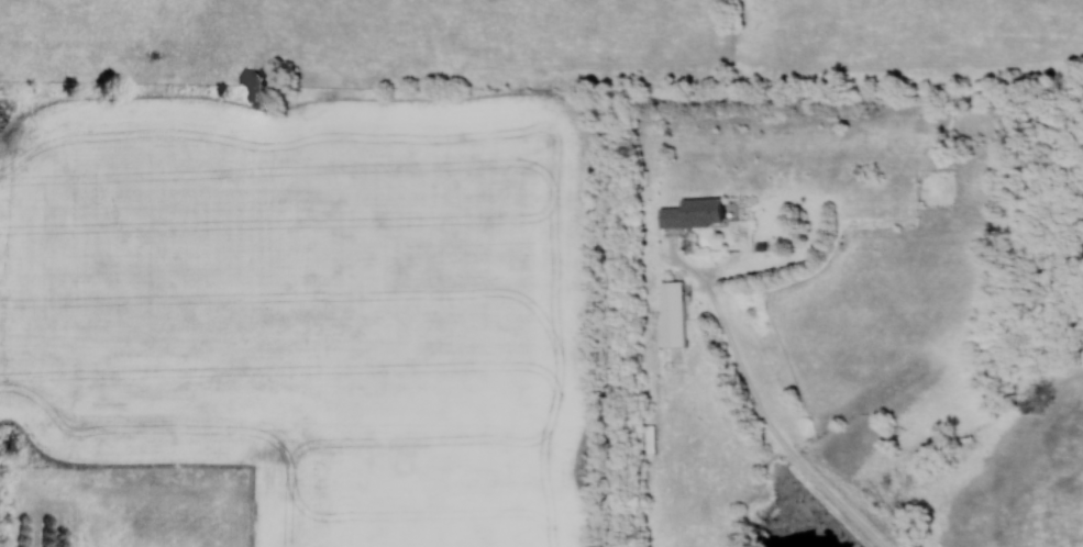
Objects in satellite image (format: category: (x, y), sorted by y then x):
building: (692, 213)
building: (671, 313)
road: (764, 412)

